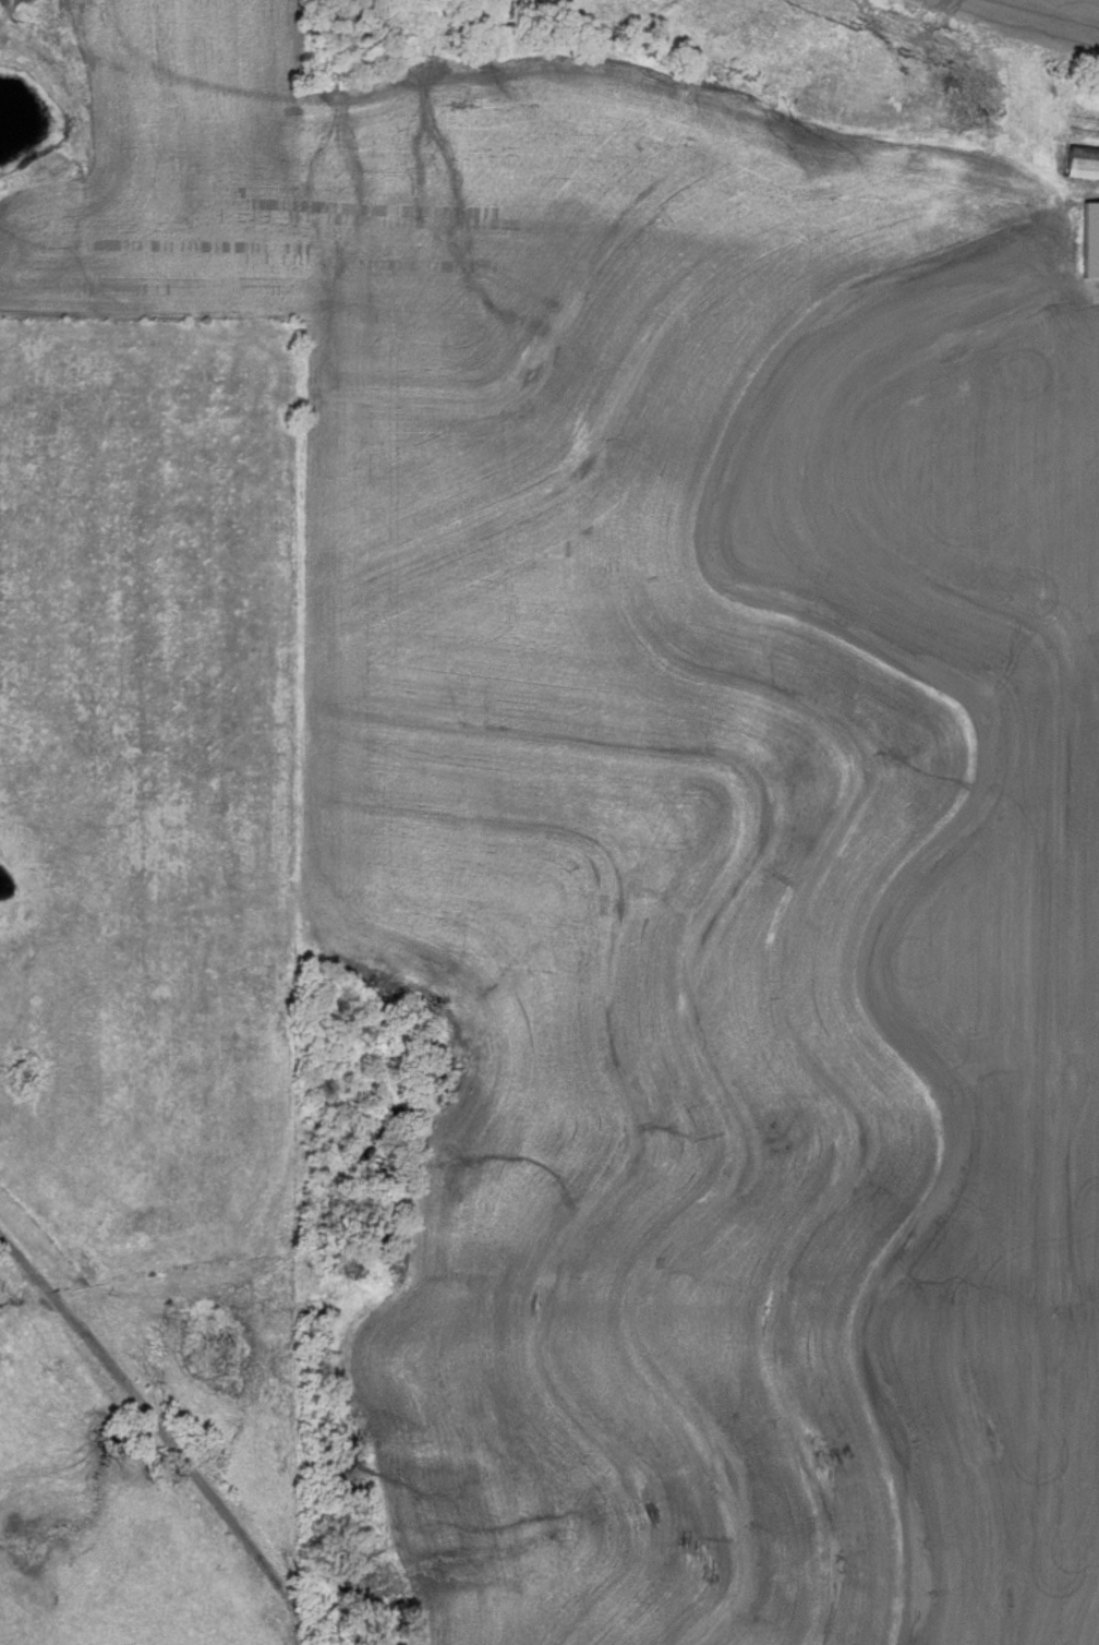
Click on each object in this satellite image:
crop: (1031, 15)
building: (1084, 164)
crop: (714, 928)

